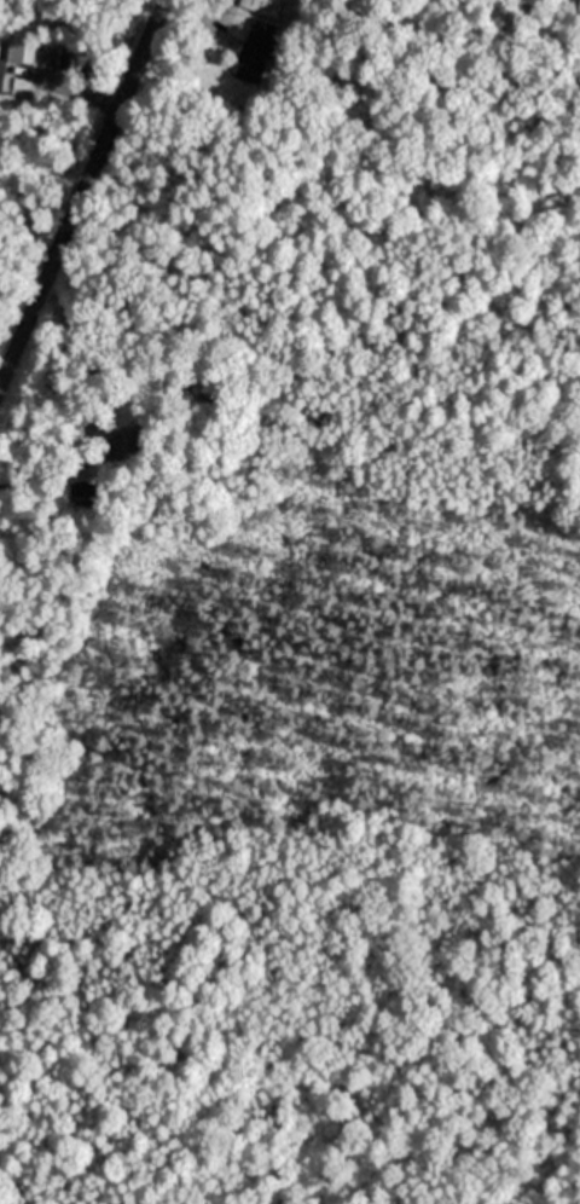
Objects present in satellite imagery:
building: (259, 5)
road: (187, 13)
building: (255, 50)
building: (16, 54)
road: (75, 184)

